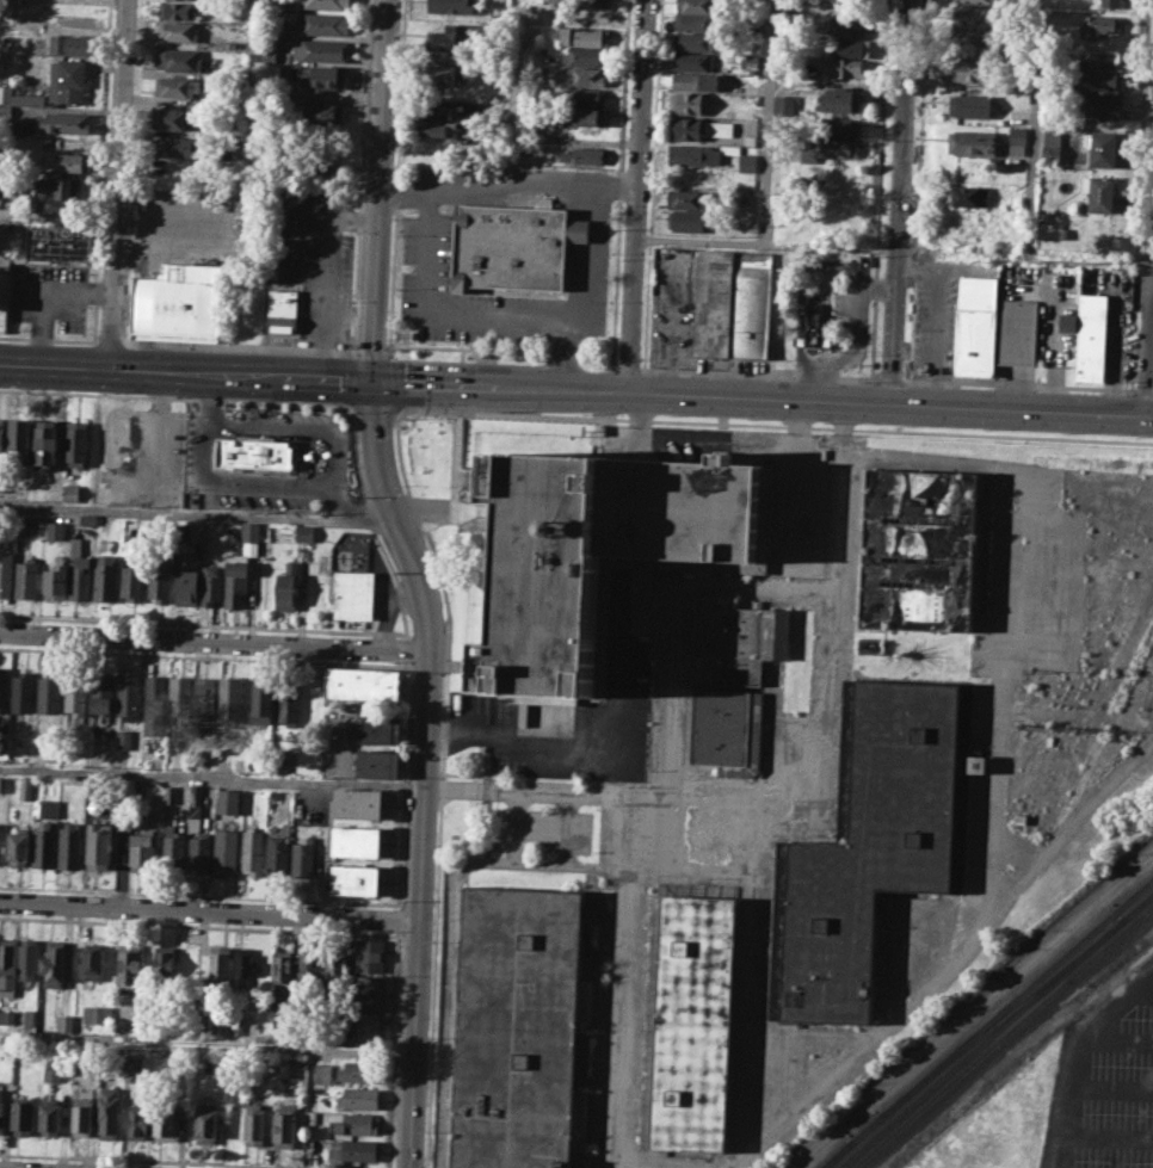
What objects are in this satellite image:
building: (979, 1)
building: (8, 2)
building: (592, 2)
building: (1015, 2)
building: (1110, 2)
building: (328, 4)
building: (695, 5)
building: (450, 6)
building: (174, 10)
building: (973, 14)
building: (538, 18)
building: (591, 18)
building: (695, 21)
building: (325, 24)
building: (1099, 25)
building: (850, 26)
building: (177, 30)
building: (584, 36)
building: (973, 36)
building: (449, 37)
building: (696, 41)
building: (70, 43)
building: (850, 48)
building: (322, 50)
building: (267, 55)
building: (585, 56)
building: (1104, 58)
building: (177, 60)
building: (748, 60)
building: (692, 61)
building: (844, 67)
building: (973, 70)
building: (269, 74)
building: (444, 74)
building: (587, 75)
building: (327, 76)
road: (510, 79)
building: (66, 80)
building: (1103, 80)
building: (698, 81)
building: (175, 86)
building: (5, 93)
road: (251, 93)
building: (587, 95)
building: (840, 100)
building: (686, 103)
building: (784, 104)
building: (970, 105)
building: (1098, 105)
building: (438, 109)
building: (5, 112)
building: (323, 112)
building: (584, 116)
building: (171, 119)
building: (62, 120)
building: (839, 126)
road: (1032, 126)
building: (437, 128)
building: (698, 128)
building: (748, 140)
building: (1018, 141)
building: (972, 142)
building: (174, 144)
building: (1052, 144)
building: (839, 147)
building: (1100, 147)
building: (526, 148)
building: (581, 155)
building: (702, 155)
building: (74, 161)
building: (747, 166)
building: (180, 167)
building: (689, 178)
road: (513, 181)
road: (117, 185)
building: (56, 186)
road: (766, 186)
road: (878, 189)
road: (918, 190)
road: (382, 191)
building: (1098, 192)
road: (635, 196)
building: (968, 196)
building: (690, 198)
road: (900, 203)
road: (57, 215)
building: (837, 216)
building: (688, 220)
parking lot: (185, 228)
road: (224, 230)
parking lot: (427, 236)
road: (597, 237)
building: (58, 243)
building: (516, 247)
parking lot: (309, 251)
road: (329, 274)
road: (1152, 286)
road: (354, 291)
road: (43, 293)
parking lot: (50, 293)
building: (177, 304)
building: (733, 305)
parking lot: (673, 307)
road: (452, 310)
building: (283, 311)
parking lot: (935, 317)
building: (1066, 322)
building: (995, 328)
building: (814, 330)
road: (852, 335)
building: (1092, 338)
road: (1148, 338)
road: (48, 339)
road: (109, 341)
road: (354, 348)
road: (1055, 348)
road: (370, 350)
road: (501, 351)
road: (351, 354)
road: (388, 356)
road: (627, 365)
road: (758, 372)
road: (889, 378)
road: (349, 379)
traffic signals: (372, 383)
road: (1017, 383)
road: (575, 389)
road: (1143, 389)
road: (209, 398)
road: (294, 401)
road: (395, 404)
road: (346, 406)
road: (352, 410)
building: (1, 433)
building: (119, 434)
road: (60, 437)
building: (18, 438)
building: (45, 440)
building: (75, 441)
building: (252, 453)
road: (159, 457)
road: (312, 457)
road: (328, 461)
building: (2, 483)
road: (327, 484)
building: (70, 492)
road: (173, 512)
building: (88, 519)
road: (350, 520)
water tower: (561, 527)
building: (55, 530)
building: (249, 531)
building: (304, 531)
building: (191, 532)
building: (923, 551)
building: (598, 555)
building: (80, 570)
building: (6, 573)
building: (106, 576)
building: (235, 577)
building: (27, 579)
building: (56, 579)
building: (132, 580)
building: (187, 581)
building: (158, 583)
building: (211, 583)
building: (286, 587)
road: (442, 589)
building: (354, 597)
road: (202, 624)
building: (744, 636)
road: (216, 643)
building: (869, 645)
road: (406, 649)
road: (203, 656)
building: (362, 684)
building: (2, 688)
building: (75, 691)
building: (21, 692)
building: (48, 692)
building: (100, 693)
building: (127, 693)
building: (154, 693)
building: (179, 693)
building: (205, 693)
building: (232, 699)
building: (288, 700)
building: (261, 702)
road: (1000, 723)
building: (378, 729)
building: (723, 730)
building: (123, 739)
building: (377, 764)
building: (976, 764)
road: (428, 770)
road: (214, 777)
building: (125, 786)
building: (25, 787)
road: (439, 789)
building: (169, 793)
building: (193, 793)
building: (227, 801)
road: (825, 802)
building: (358, 803)
building: (48, 807)
building: (0, 841)
building: (98, 841)
building: (357, 841)
building: (44, 845)
building: (70, 845)
building: (174, 847)
building: (18, 848)
building: (141, 848)
building: (253, 851)
building: (199, 852)
building: (224, 852)
building: (877, 852)
building: (302, 854)
building: (276, 855)
building: (356, 879)
road: (320, 900)
road: (397, 904)
railway: (1137, 904)
road: (211, 907)
road: (399, 917)
road: (199, 925)
building: (370, 954)
building: (27, 958)
building: (92, 960)
building: (57, 962)
building: (162, 963)
building: (283, 963)
building: (7, 964)
building: (127, 964)
road: (950, 965)
building: (218, 966)
building: (245, 968)
building: (308, 971)
building: (337, 972)
road: (751, 978)
road: (624, 983)
road: (432, 984)
building: (369, 990)
road: (1143, 995)
railway: (1017, 996)
building: (95, 1013)
building: (6, 1015)
building: (29, 1015)
road: (450, 1016)
railway: (1003, 1016)
building: (64, 1021)
building: (235, 1024)
building: (697, 1024)
building: (366, 1026)
building: (522, 1030)
building: (223, 1031)
railway: (1004, 1037)
road: (209, 1042)
railway: (980, 1043)
road: (1112, 1044)
road: (394, 1048)
road: (1069, 1055)
building: (196, 1058)
building: (135, 1065)
building: (358, 1070)
building: (53, 1071)
building: (321, 1074)
parking lot: (1105, 1082)
road: (1109, 1093)
building: (358, 1098)
building: (1, 1110)
building: (107, 1112)
building: (23, 1116)
building: (82, 1116)
building: (50, 1118)
building: (136, 1120)
building: (165, 1120)
building: (205, 1121)
building: (254, 1123)
building: (284, 1123)
building: (234, 1124)
building: (356, 1124)
railway: (867, 1127)
road: (1105, 1138)
building: (358, 1150)
railway: (836, 1154)
railway: (837, 1154)
road: (158, 1160)

